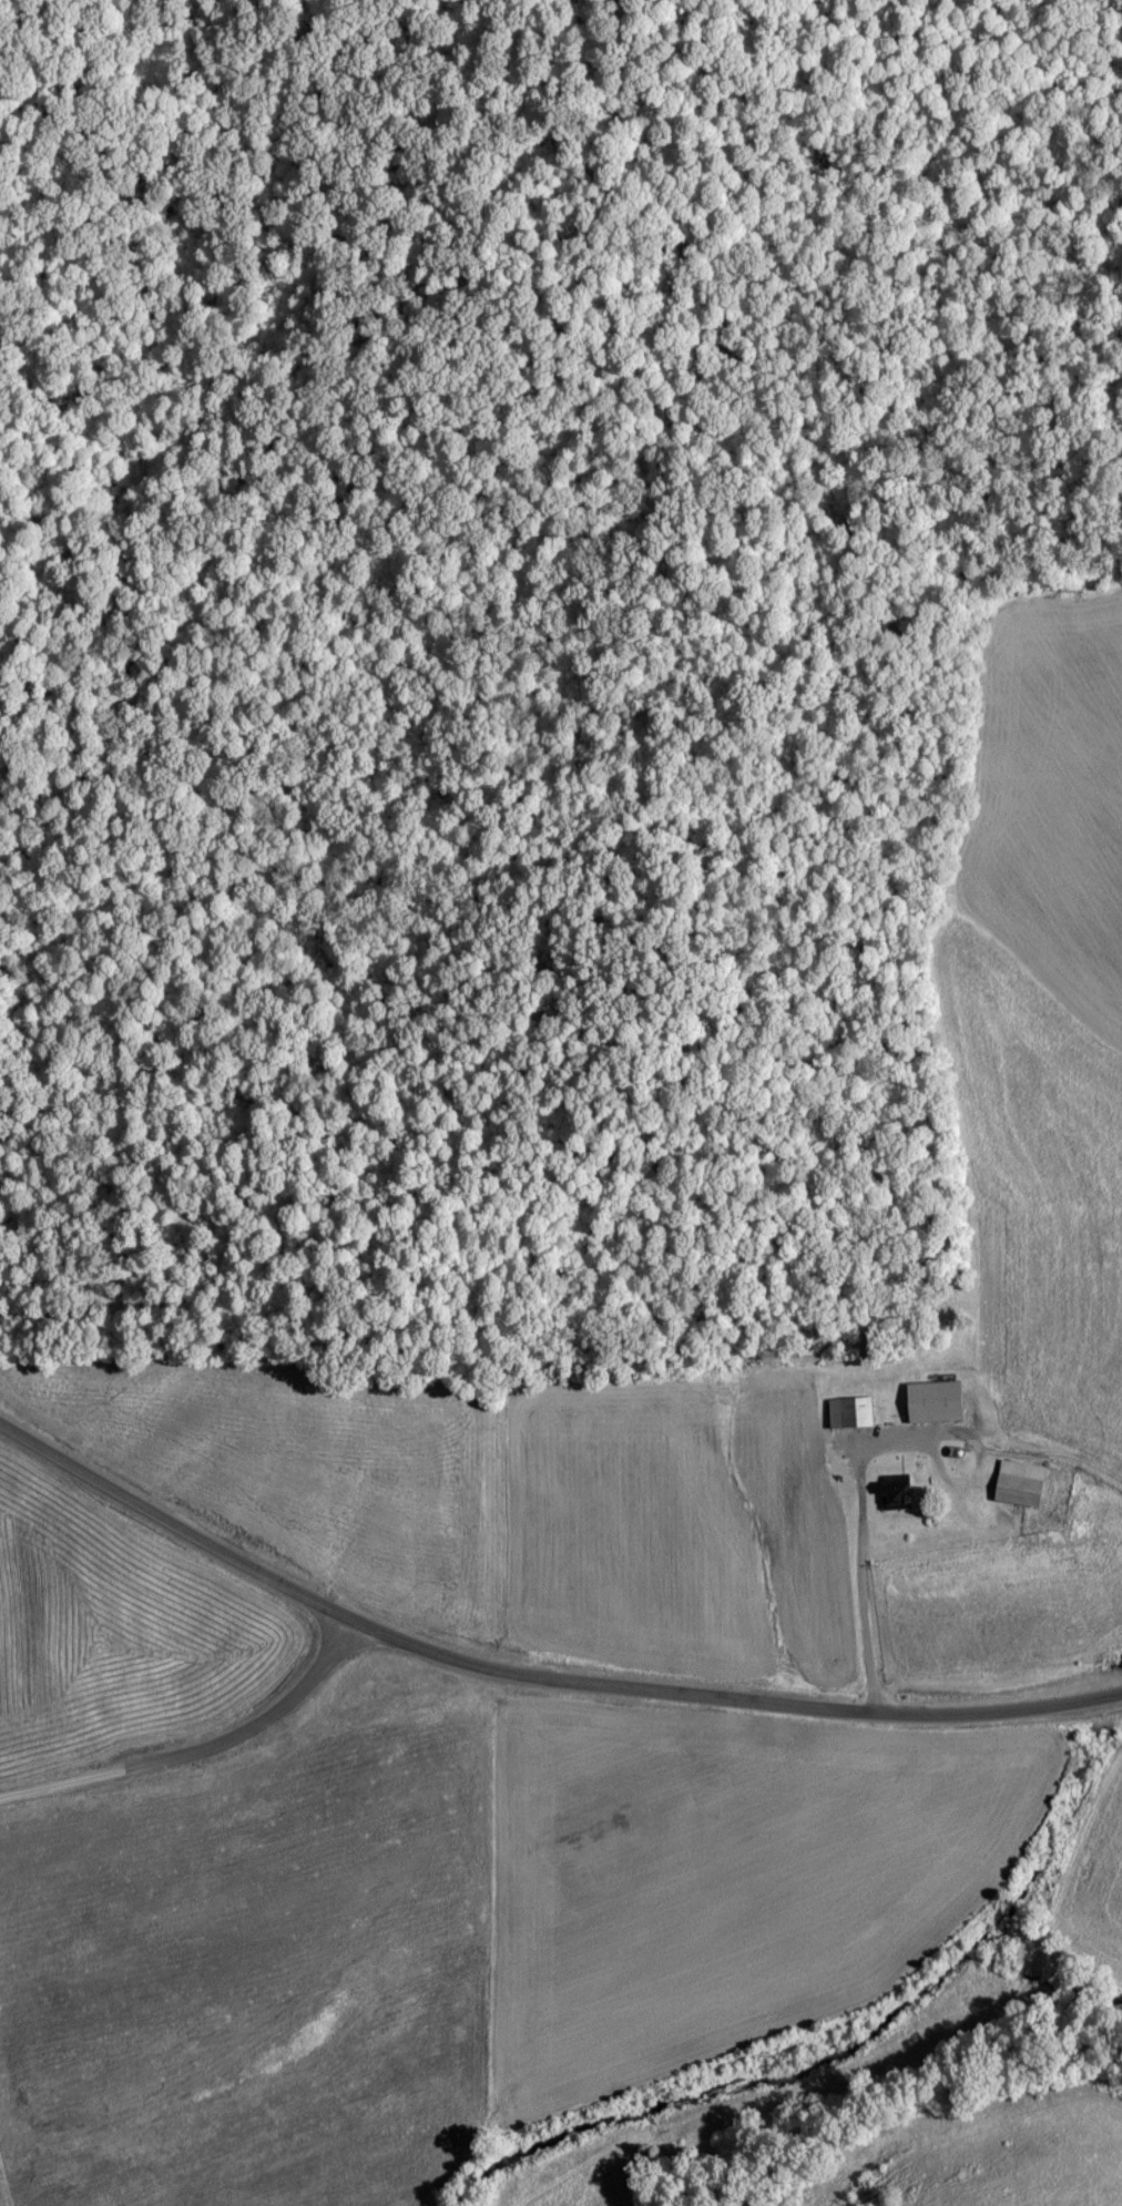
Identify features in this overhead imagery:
building: (936, 1400)
building: (850, 1411)
building: (1022, 1481)
building: (898, 1491)
road: (241, 1561)
road: (876, 1583)
road: (809, 1707)
road: (253, 1722)
road: (63, 1781)

